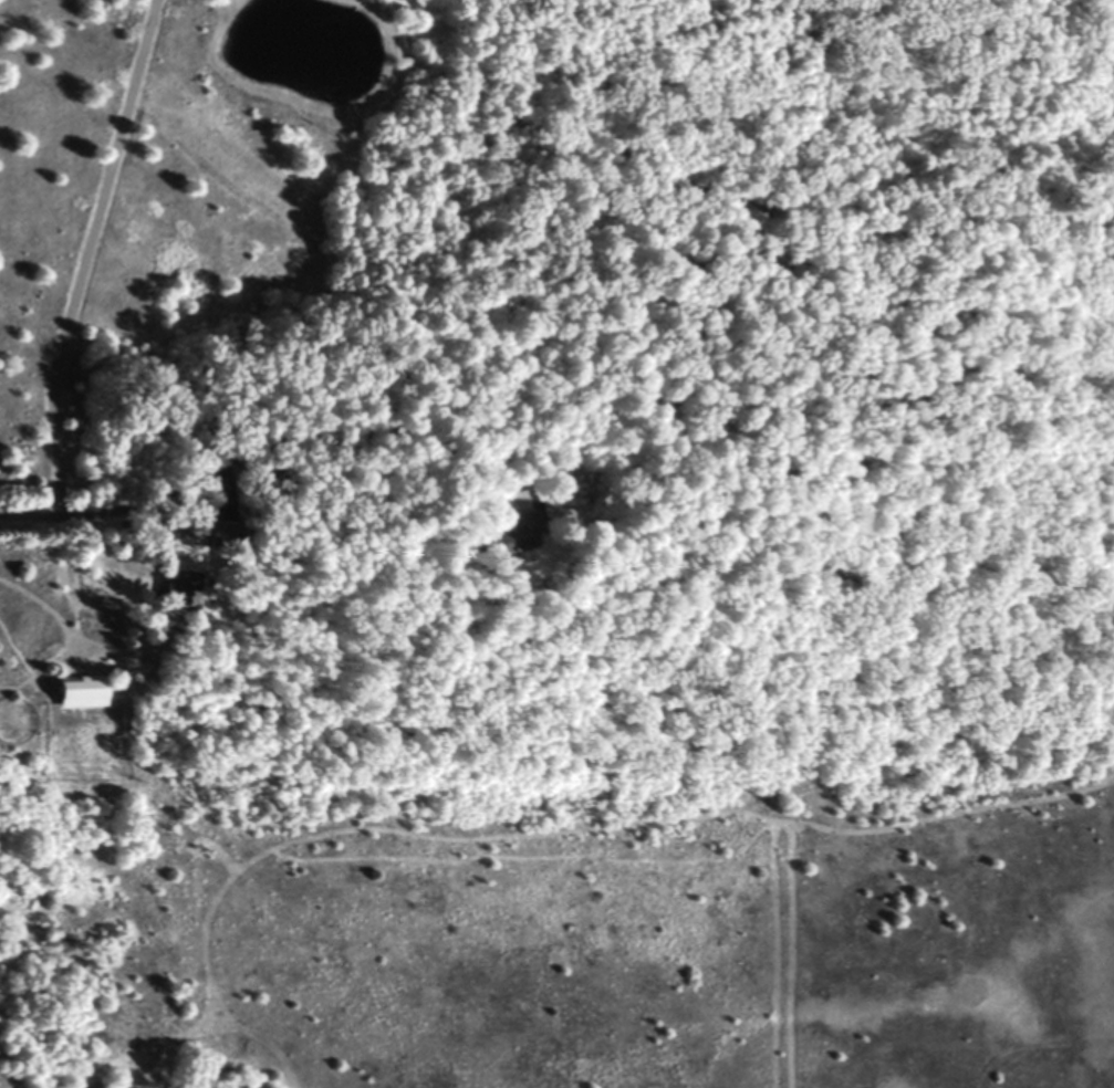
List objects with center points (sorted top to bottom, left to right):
road: (74, 273)
road: (373, 431)
road: (158, 484)
building: (509, 536)
building: (74, 692)

